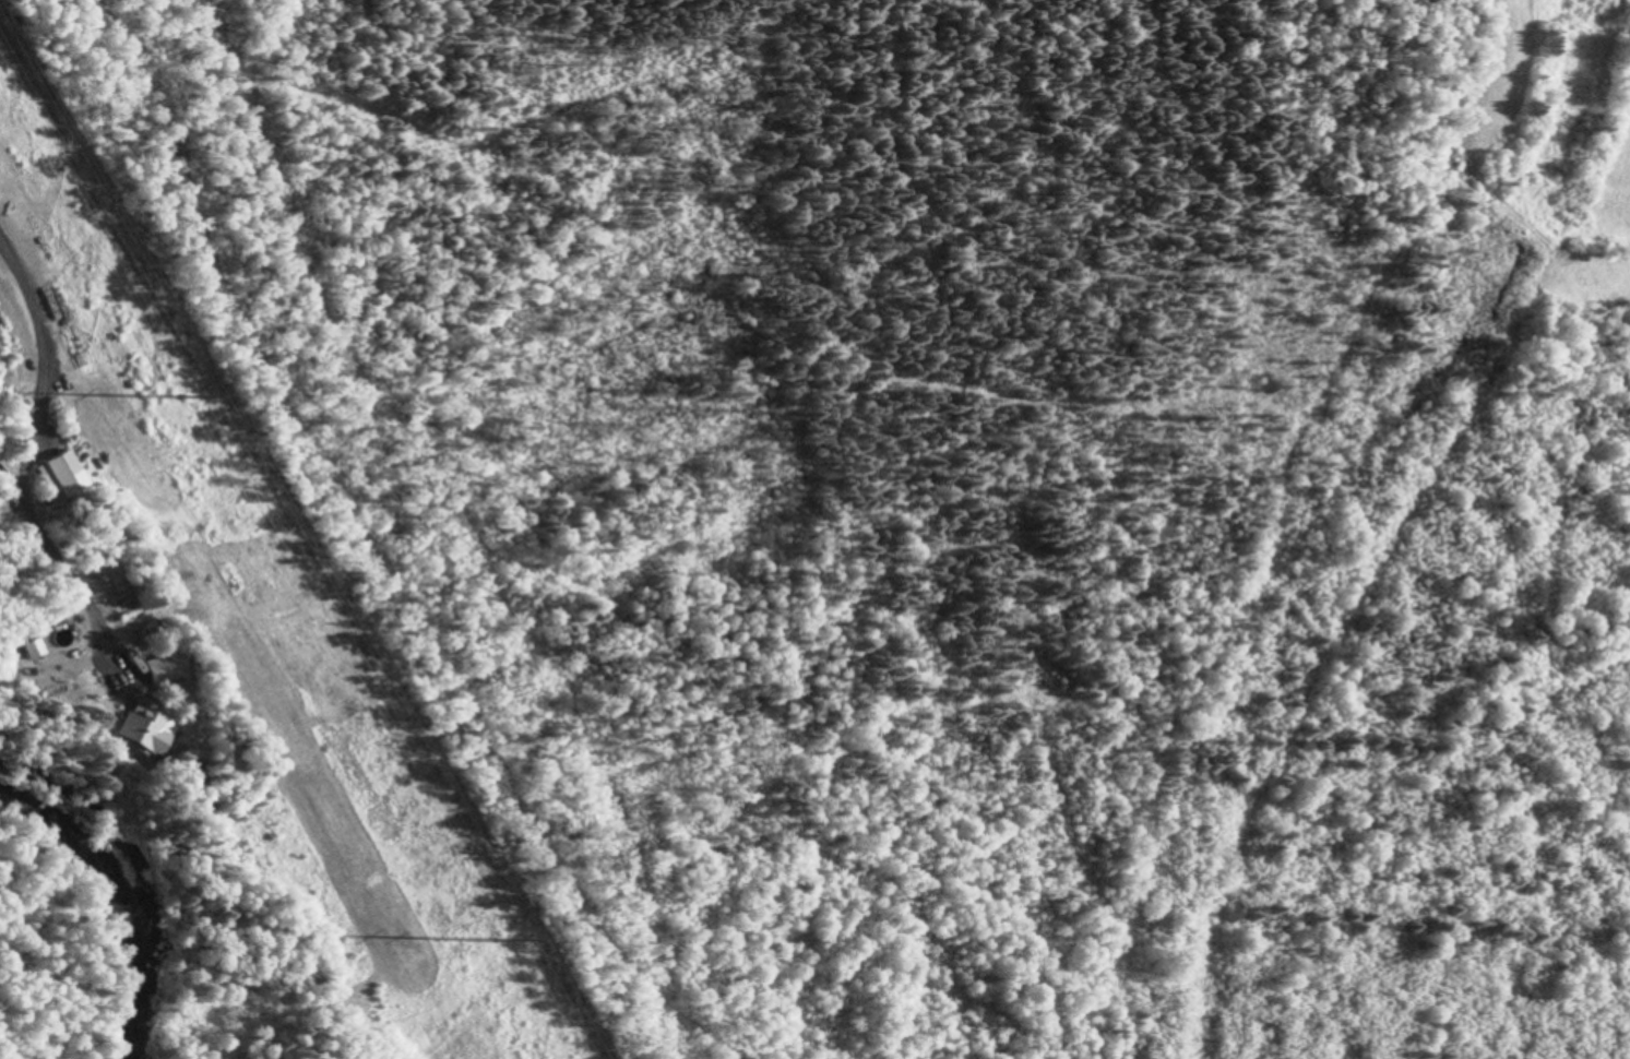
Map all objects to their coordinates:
power tower: (179, 397)
building: (57, 474)
building: (25, 650)
building: (139, 728)
power tower: (493, 941)

